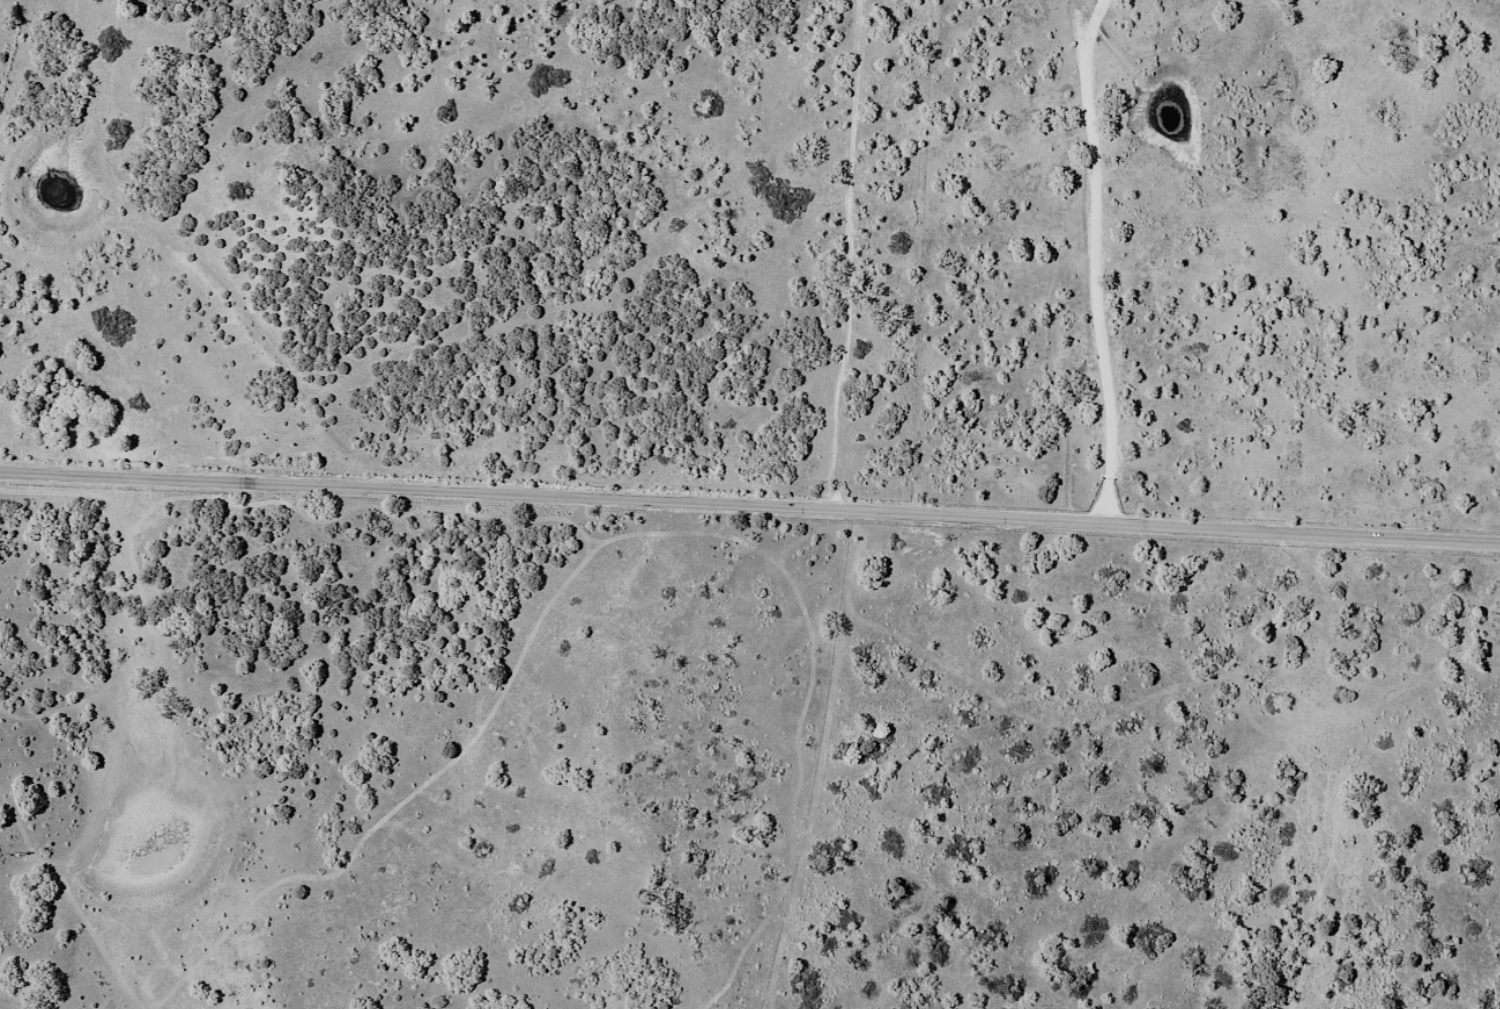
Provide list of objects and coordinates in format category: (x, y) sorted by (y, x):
road: (854, 253)
road: (750, 502)

